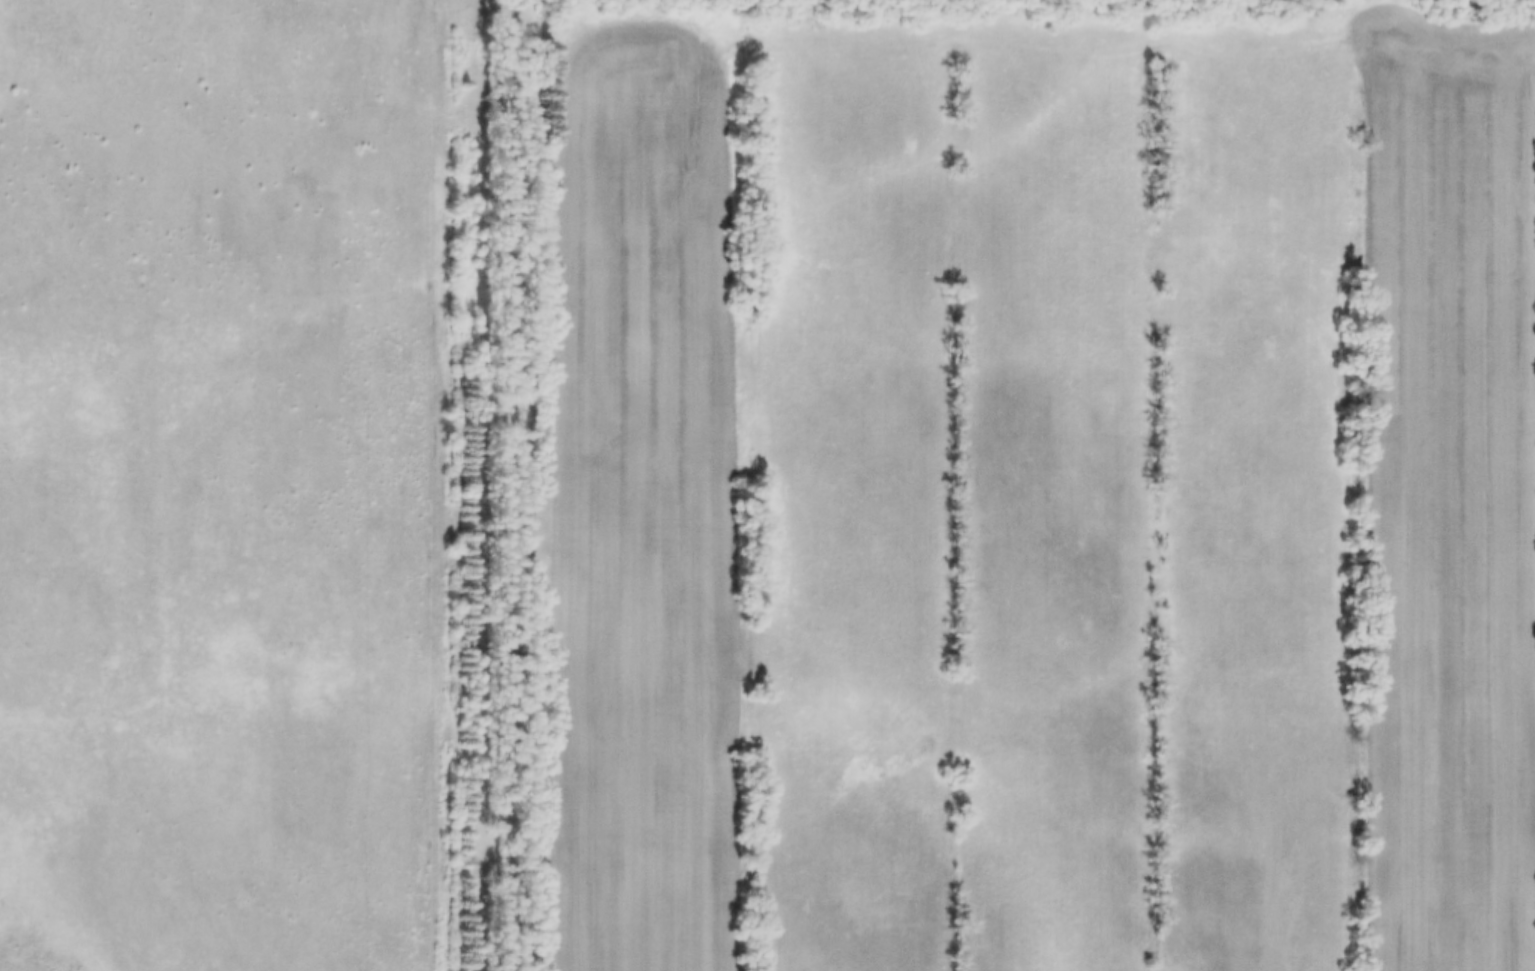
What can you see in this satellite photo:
road: (434, 485)

